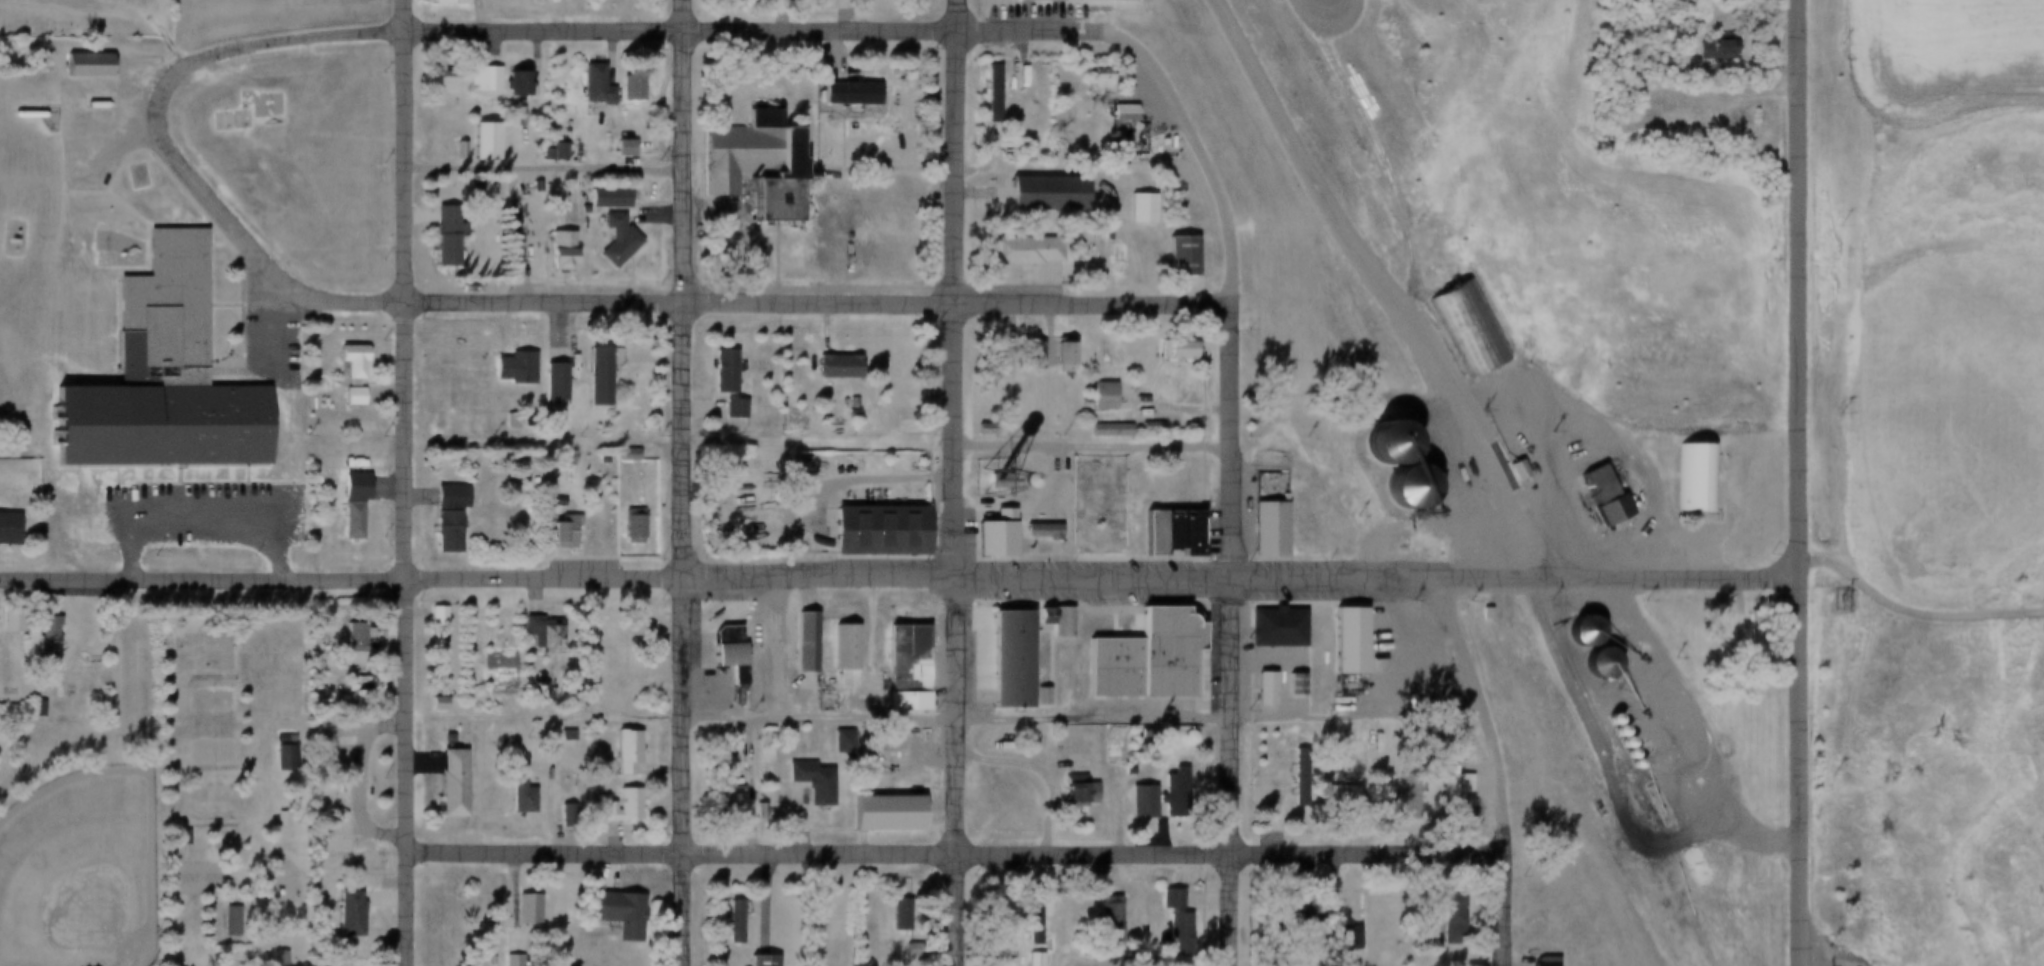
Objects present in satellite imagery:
building: (1031, 0)
building: (445, 2)
road: (1296, 3)
road: (791, 12)
park: (82, 18)
road: (161, 24)
road: (750, 25)
road: (295, 39)
building: (1717, 46)
building: (78, 65)
building: (478, 78)
building: (433, 81)
building: (1088, 81)
building: (625, 82)
building: (509, 85)
building: (588, 85)
building: (998, 89)
building: (840, 95)
building: (983, 95)
building: (1114, 113)
storage tank: (19, 115)
park: (225, 119)
road: (1198, 136)
building: (476, 143)
building: (619, 147)
road: (1370, 150)
building: (549, 152)
building: (754, 163)
road: (184, 164)
chimney: (751, 178)
building: (1035, 195)
building: (601, 198)
building: (1130, 210)
building: (438, 238)
building: (610, 240)
building: (506, 247)
building: (553, 250)
building: (1013, 252)
building: (1170, 258)
road: (1372, 284)
road: (1804, 288)
road: (822, 294)
road: (327, 301)
building: (1463, 326)
road: (554, 327)
building: (1165, 351)
building: (1052, 356)
building: (1026, 357)
building: (829, 367)
building: (506, 370)
building: (717, 371)
building: (346, 372)
building: (555, 372)
building: (591, 377)
building: (151, 380)
building: (544, 383)
building: (1092, 396)
building: (847, 402)
building: (728, 408)
building: (503, 422)
building: (1136, 427)
building: (1100, 430)
road: (1602, 436)
road: (1096, 442)
building: (1380, 442)
silo: (1380, 442)
building: (616, 454)
building: (339, 461)
building: (1511, 470)
building: (1688, 477)
road: (836, 480)
water tower: (985, 481)
road: (684, 482)
road: (956, 482)
road: (407, 483)
building: (347, 486)
building: (1402, 487)
silo: (1402, 487)
building: (707, 492)
building: (444, 496)
building: (1595, 498)
building: (1091, 503)
power substation: (1091, 503)
building: (344, 521)
road: (204, 527)
building: (625, 527)
building: (5, 529)
building: (1035, 531)
building: (1261, 531)
building: (441, 532)
building: (870, 532)
building: (1161, 532)
building: (555, 535)
building: (984, 536)
building: (1143, 536)
building: (1179, 536)
road: (1106, 572)
road: (203, 578)
power substation: (1833, 598)
road: (1917, 607)
building: (1478, 614)
building: (430, 616)
building: (1036, 616)
building: (5, 619)
building: (1053, 624)
road: (1235, 625)
building: (1578, 632)
silo: (1578, 632)
building: (542, 635)
building: (39, 637)
building: (348, 637)
building: (797, 643)
building: (1339, 643)
park: (197, 649)
building: (836, 649)
building: (722, 653)
building: (1136, 659)
building: (1001, 662)
building: (1593, 662)
silo: (1593, 662)
building: (897, 670)
building: (1288, 685)
building: (1257, 690)
building: (534, 691)
building: (1032, 698)
building: (431, 703)
building: (1421, 704)
building: (30, 709)
road: (1487, 709)
road: (948, 716)
building: (1604, 719)
silo: (1604, 719)
park: (205, 724)
road: (1695, 729)
building: (1610, 731)
silo: (1610, 731)
building: (561, 734)
building: (842, 739)
building: (1616, 743)
silo: (1616, 743)
building: (621, 747)
building: (278, 750)
building: (1622, 753)
silo: (1622, 753)
building: (286, 755)
building: (1626, 763)
silo: (1626, 763)
road: (1803, 771)
road: (360, 778)
park: (146, 779)
building: (445, 783)
building: (802, 783)
building: (1164, 785)
building: (1447, 787)
building: (722, 795)
building: (1070, 795)
building: (514, 797)
building: (1402, 799)
park: (208, 801)
building: (1337, 802)
building: (1133, 803)
building: (617, 806)
building: (754, 810)
building: (876, 815)
building: (174, 838)
road: (958, 852)
park: (75, 869)
building: (1164, 899)
road: (1511, 906)
building: (522, 908)
building: (892, 909)
building: (613, 913)
building: (1296, 913)
building: (341, 914)
building: (1026, 916)
building: (1101, 916)
building: (1451, 918)
building: (207, 920)
building: (729, 921)
building: (224, 923)
building: (1172, 935)
building: (1334, 937)
building: (280, 956)
building: (273, 958)
building: (1028, 959)
building: (507, 960)
building: (755, 961)
building: (1535, 965)

